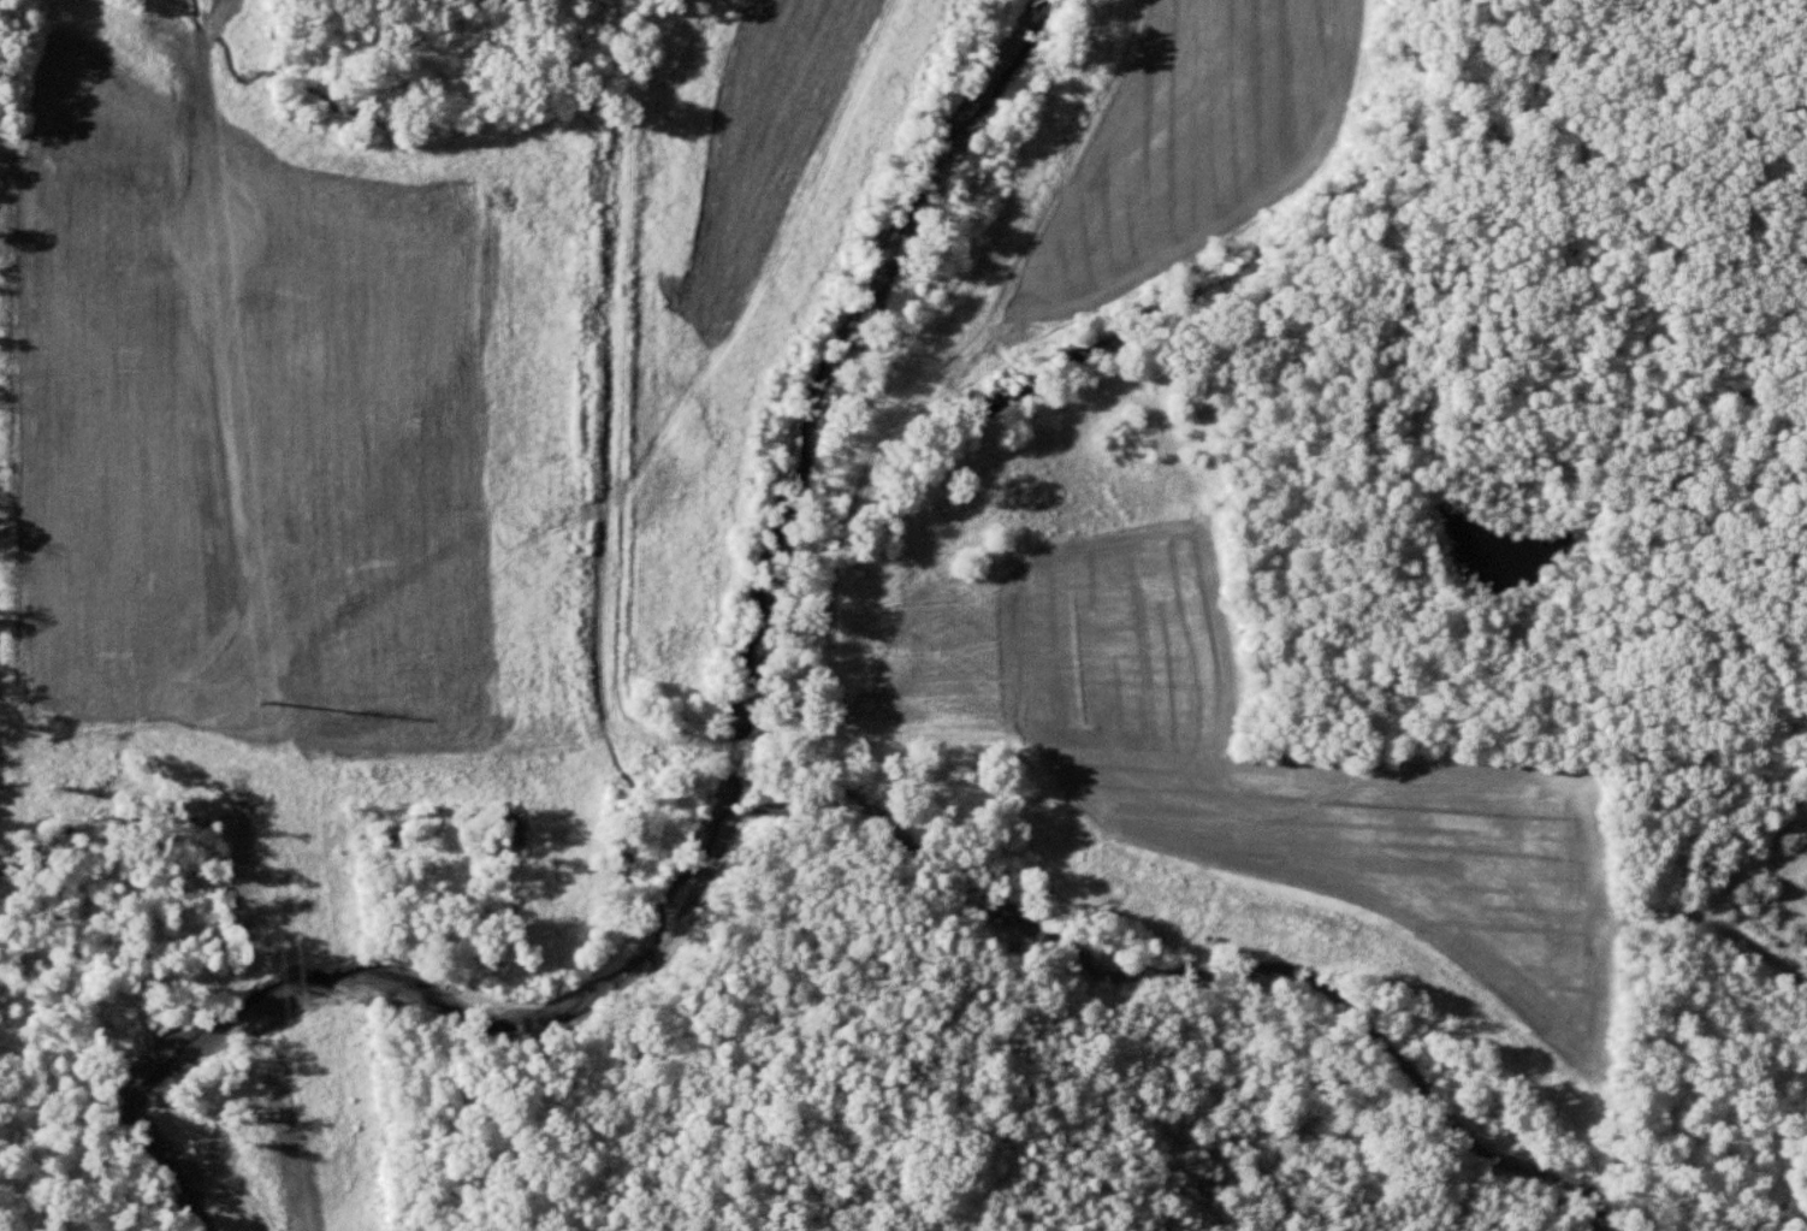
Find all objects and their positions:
power tower: (259, 699)

